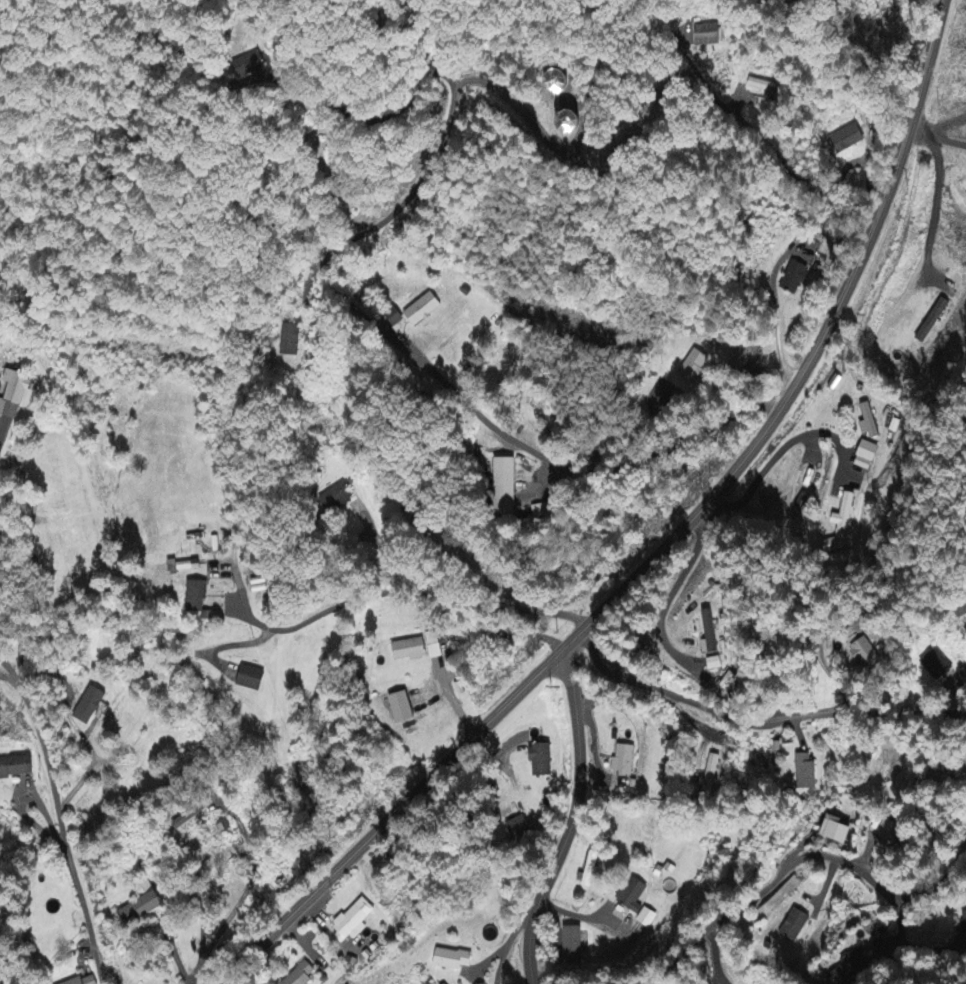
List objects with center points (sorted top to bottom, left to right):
building: (701, 36)
building: (249, 66)
building: (556, 82)
building: (762, 88)
building: (569, 124)
building: (846, 140)
building: (965, 200)
building: (791, 279)
building: (418, 311)
building: (392, 318)
building: (928, 322)
building: (288, 342)
building: (689, 368)
road: (454, 386)
building: (13, 394)
building: (867, 423)
building: (861, 457)
building: (499, 488)
building: (335, 499)
building: (838, 526)
road: (665, 548)
building: (182, 566)
road: (691, 566)
road: (414, 590)
building: (194, 602)
building: (709, 634)
building: (433, 646)
building: (406, 651)
building: (864, 656)
building: (934, 665)
road: (5, 667)
road: (5, 673)
building: (247, 679)
building: (87, 707)
building: (396, 707)
road: (757, 716)
building: (537, 760)
building: (621, 761)
building: (16, 768)
building: (803, 773)
building: (710, 776)
building: (188, 816)
road: (573, 818)
road: (66, 825)
building: (515, 830)
building: (838, 831)
building: (886, 831)
building: (587, 872)
road: (771, 883)
building: (632, 902)
building: (135, 909)
building: (350, 922)
building: (963, 923)
building: (790, 927)
building: (569, 945)
building: (447, 960)
building: (851, 969)
building: (299, 975)
building: (82, 981)

